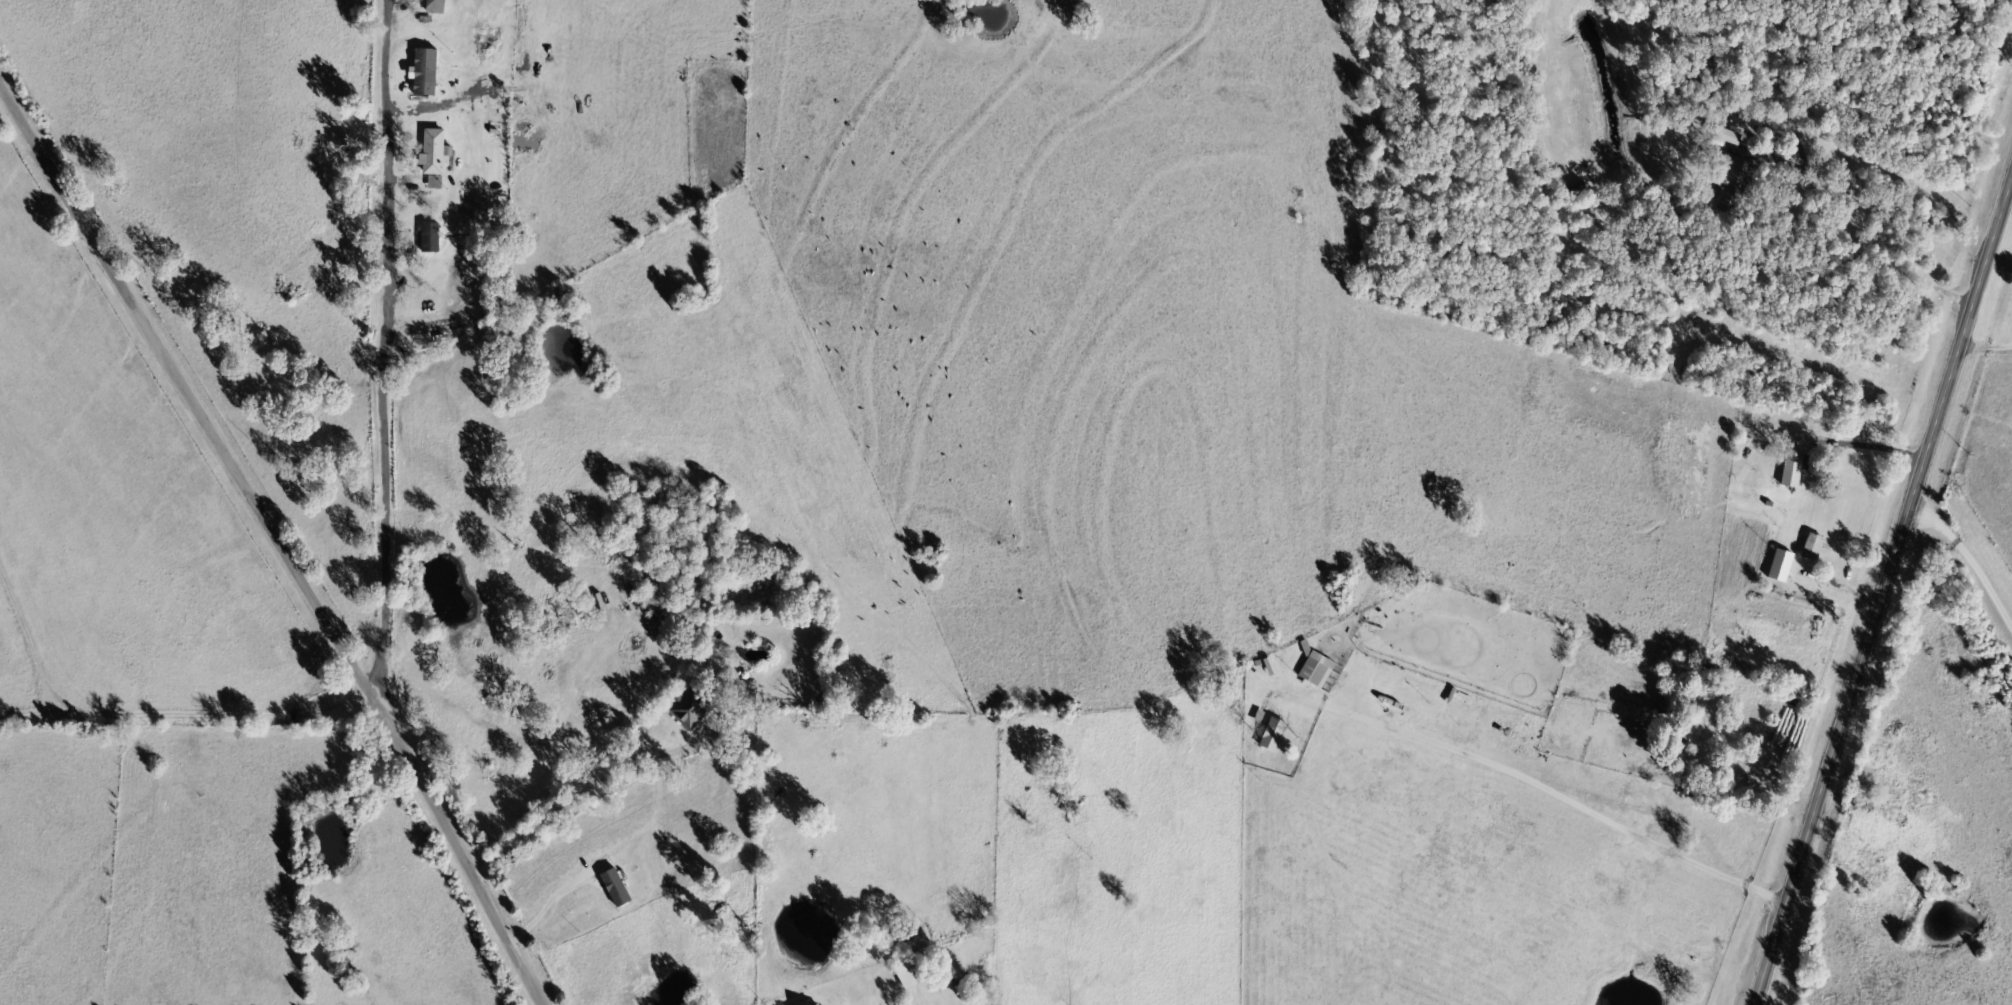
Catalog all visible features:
building: (437, 7)
building: (426, 73)
building: (1729, 138)
building: (435, 153)
building: (436, 183)
building: (1735, 186)
building: (431, 239)
road: (375, 349)
building: (1793, 469)
road: (280, 547)
building: (1814, 548)
building: (1782, 567)
road: (1967, 584)
road: (1884, 591)
building: (657, 601)
building: (1271, 667)
building: (1318, 670)
building: (691, 710)
road: (601, 715)
building: (1274, 735)
building: (617, 889)
building: (913, 971)
road: (972, 993)

